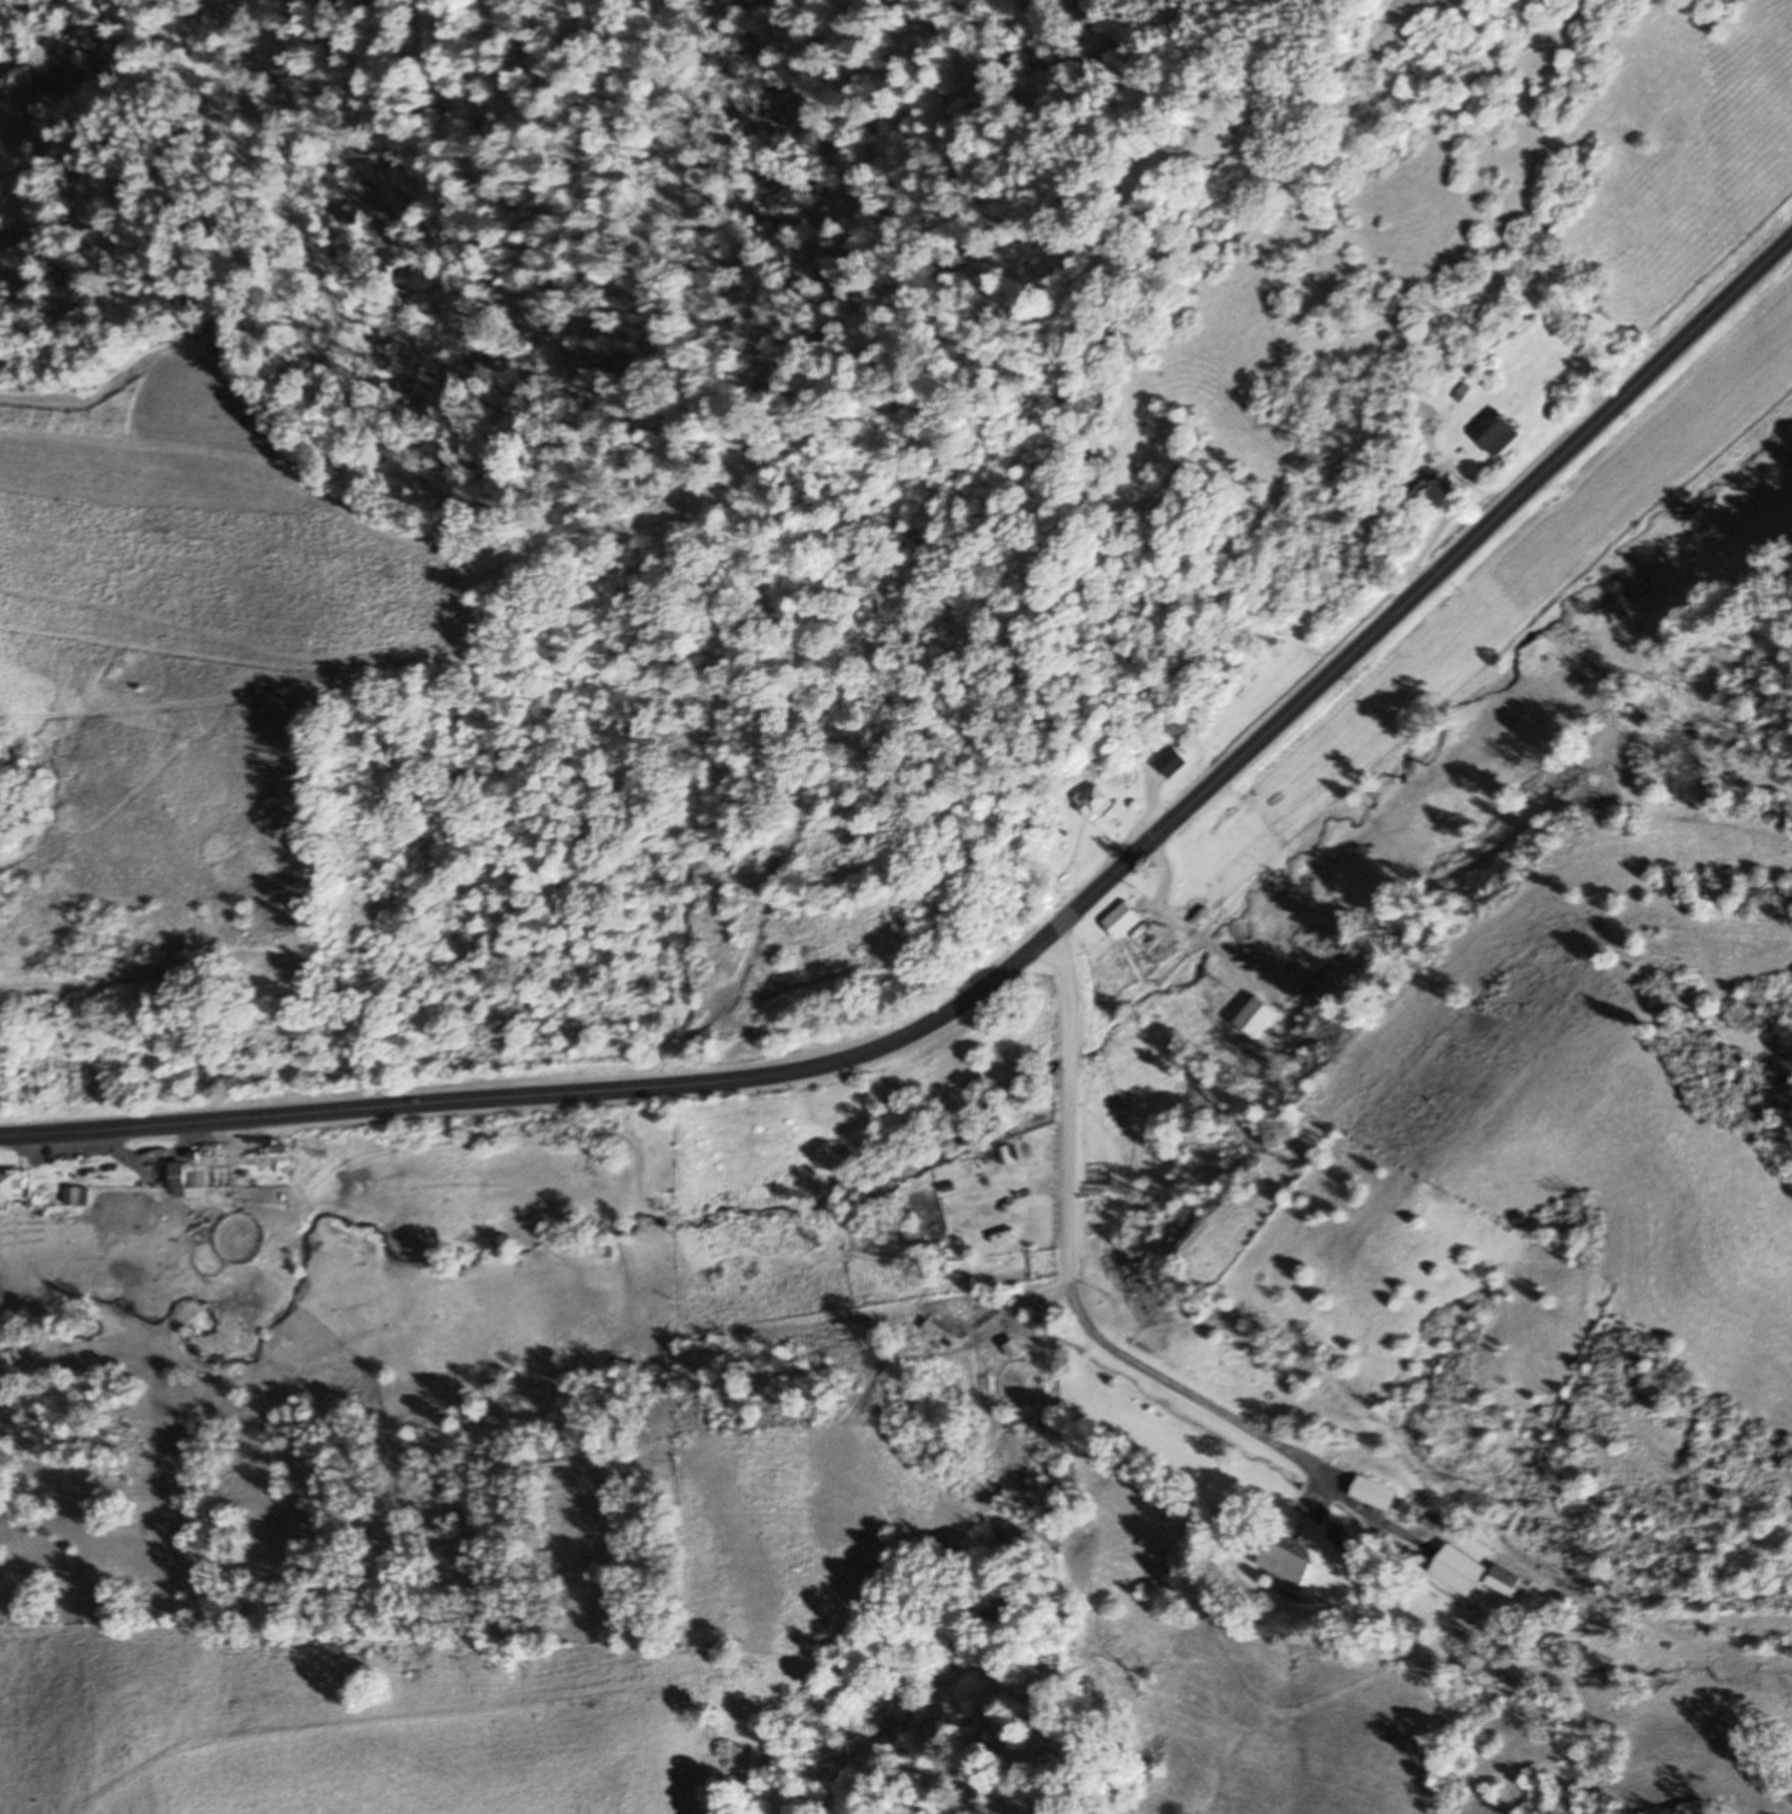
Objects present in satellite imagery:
building: (1503, 431)
building: (1424, 486)
road: (1439, 518)
building: (1174, 760)
road: (1152, 793)
building: (1097, 800)
road: (1179, 916)
building: (1125, 920)
road: (1021, 950)
building: (1256, 1018)
road: (155, 1152)
building: (178, 1175)
building: (13, 1187)
building: (75, 1196)
road: (1072, 1286)
building: (932, 1329)
building: (1016, 1348)
building: (1377, 1495)
building: (1284, 1565)
building: (1462, 1571)
building: (1514, 1580)

